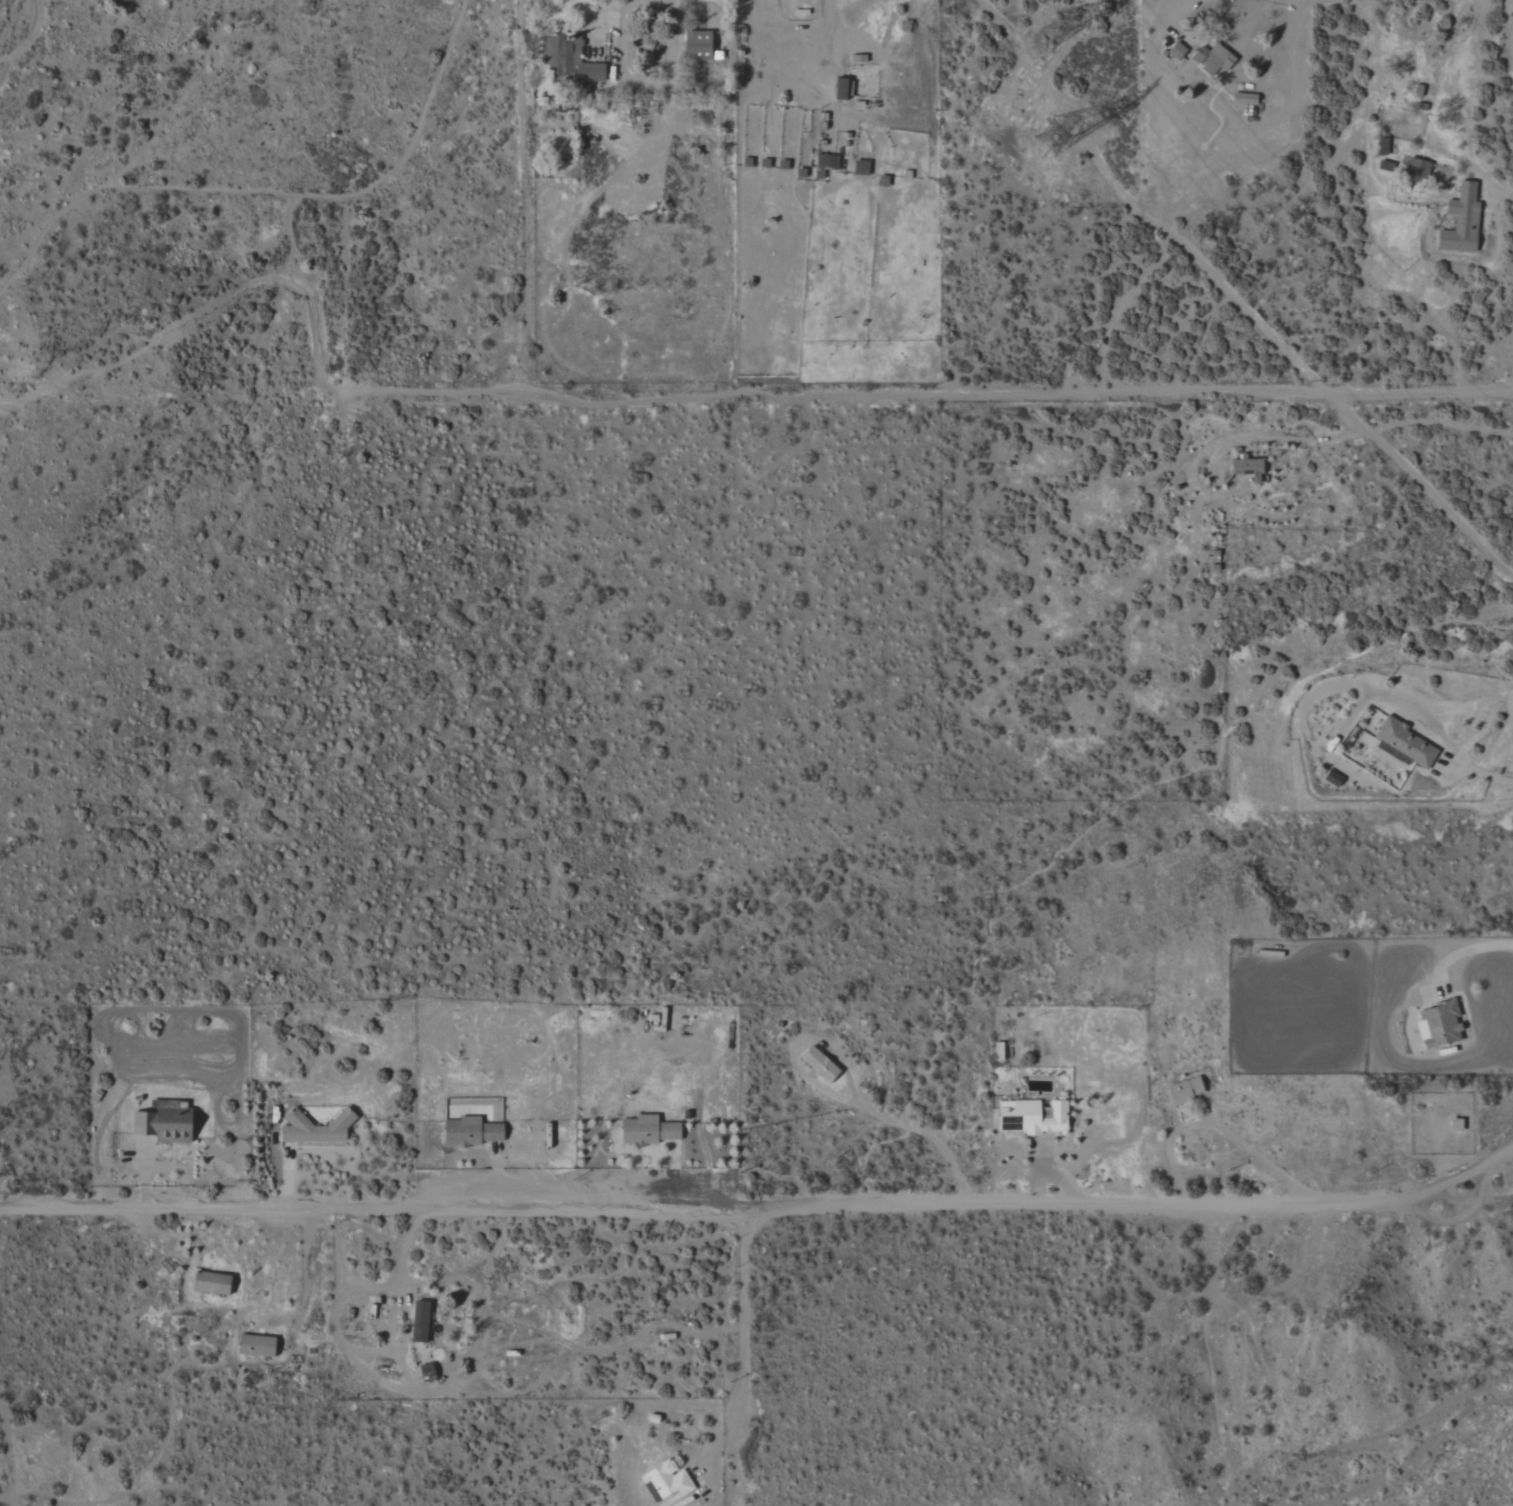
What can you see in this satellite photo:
road: (1173, 1)
power tower: (1047, 42)
building: (700, 46)
building: (1179, 52)
building: (1214, 59)
building: (570, 60)
building: (845, 89)
power tower: (1019, 104)
road: (1091, 150)
building: (1419, 168)
road: (1484, 176)
building: (1463, 222)
road: (925, 392)
road: (1365, 432)
building: (1405, 743)
road: (1485, 774)
building: (1335, 779)
road: (1467, 950)
building: (1441, 1025)
building: (821, 1064)
building: (1187, 1090)
building: (1035, 1117)
building: (166, 1124)
building: (1458, 1125)
road: (1212, 1126)
building: (317, 1129)
building: (650, 1130)
building: (473, 1132)
road: (918, 1134)
road: (762, 1208)
road: (204, 1252)
road: (227, 1252)
building: (213, 1282)
road: (239, 1303)
road: (743, 1317)
building: (421, 1321)
building: (258, 1345)
road: (412, 1387)
building: (668, 1483)

